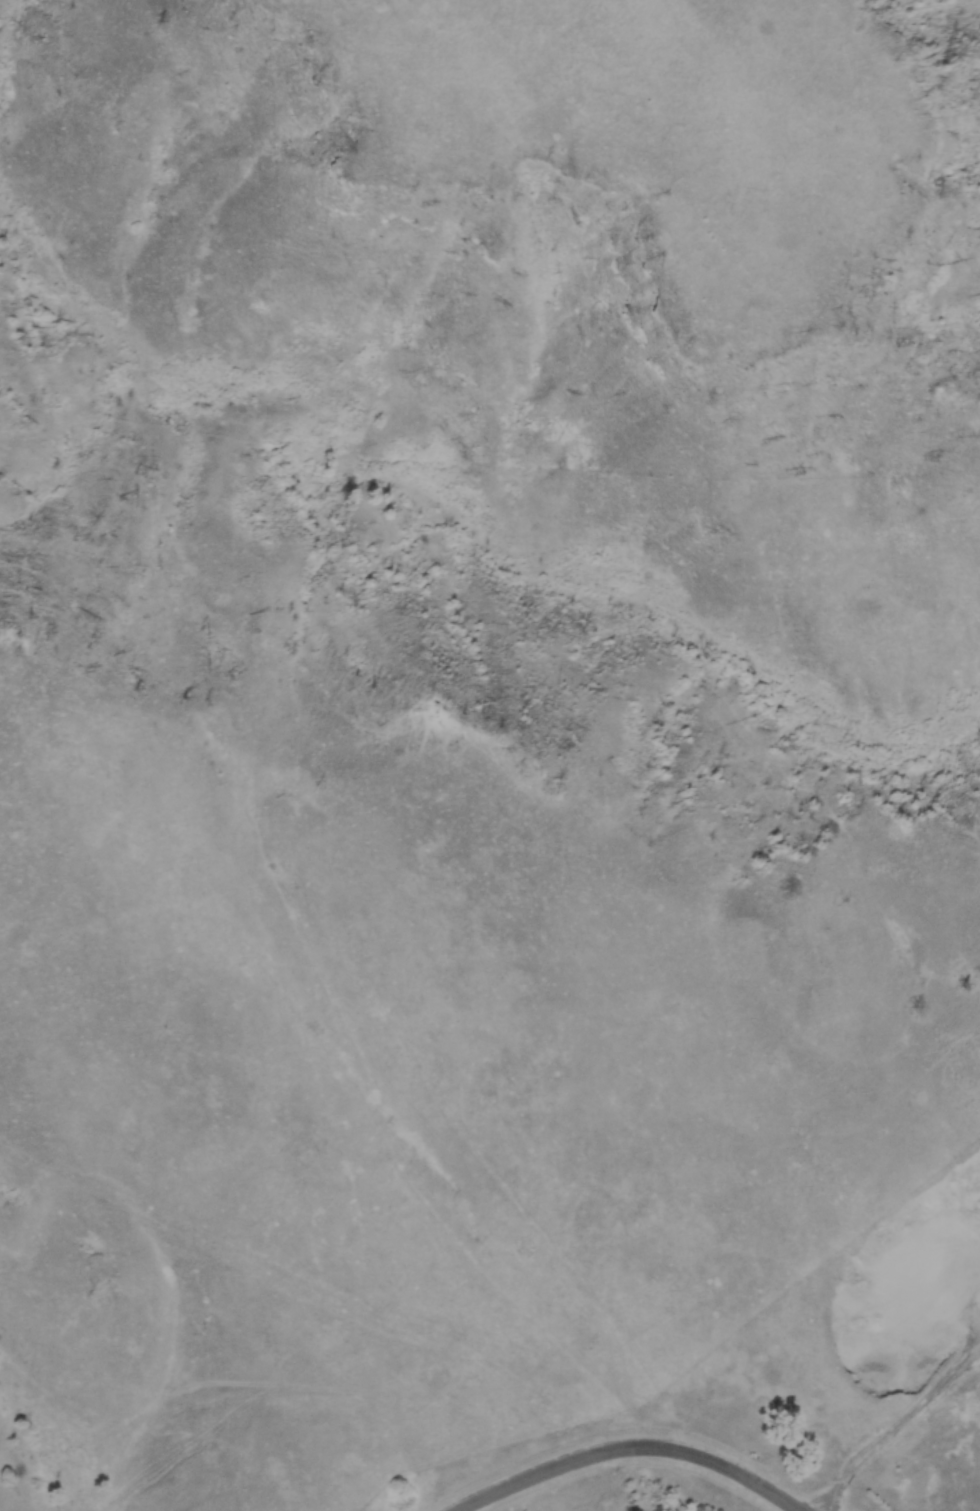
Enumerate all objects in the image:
road: (629, 1453)

